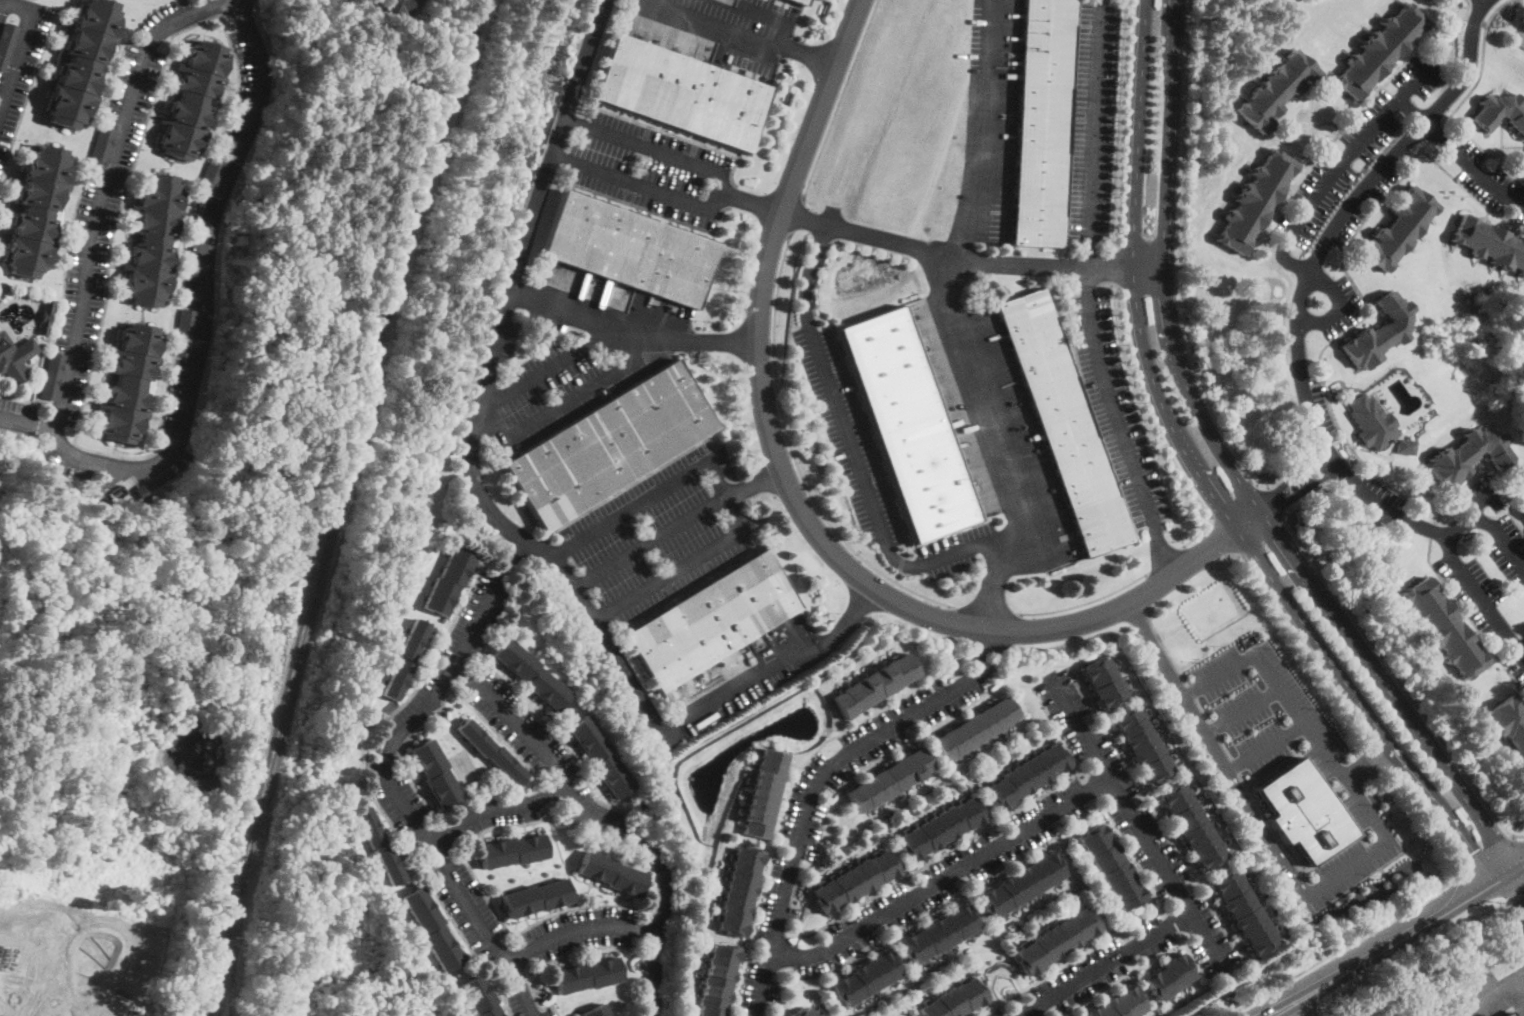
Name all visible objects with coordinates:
building: (417, 0)
building: (799, 2)
building: (393, 6)
road: (1466, 8)
parking lot: (729, 21)
road: (748, 31)
building: (6, 43)
road: (1173, 43)
road: (20, 46)
building: (1380, 51)
building: (81, 63)
building: (1276, 91)
building: (681, 94)
road: (839, 99)
building: (189, 100)
road: (1410, 108)
building: (1500, 112)
parking lot: (1092, 121)
road: (1126, 122)
building: (1042, 123)
road: (1091, 134)
building: (100, 151)
road: (1336, 163)
building: (1521, 165)
parking lot: (649, 167)
road: (1469, 167)
road: (1306, 171)
building: (212, 172)
road: (1165, 177)
road: (102, 188)
road: (718, 190)
road: (1134, 198)
road: (749, 201)
building: (1255, 201)
building: (36, 212)
road: (796, 216)
road: (974, 217)
building: (1398, 230)
building: (150, 241)
building: (1490, 244)
building: (629, 249)
road: (1176, 256)
road: (1057, 265)
road: (1119, 266)
road: (1309, 274)
road: (1340, 304)
building: (44, 317)
parking lot: (545, 319)
road: (198, 320)
road: (1169, 326)
building: (184, 333)
building: (1379, 333)
road: (685, 338)
road: (593, 339)
building: (14, 358)
road: (1313, 361)
road: (1298, 363)
building: (53, 376)
building: (127, 383)
parking lot: (539, 387)
road: (569, 396)
parking lot: (1116, 410)
building: (1371, 422)
building: (908, 423)
building: (1064, 423)
road: (1336, 423)
road: (1118, 424)
road: (1156, 428)
parking lot: (847, 435)
road: (872, 440)
building: (609, 445)
road: (992, 446)
building: (1405, 446)
road: (1219, 450)
road: (792, 454)
road: (853, 456)
building: (1468, 456)
road: (1196, 464)
road: (1292, 469)
building: (0, 473)
road: (724, 486)
road: (1294, 486)
building: (140, 492)
road: (795, 497)
road: (1276, 500)
railway: (332, 504)
road: (1235, 504)
building: (1523, 506)
building: (1522, 509)
road: (496, 516)
road: (674, 524)
road: (1249, 524)
parking lot: (651, 537)
road: (1261, 539)
road: (1221, 540)
parking lot: (954, 550)
road: (1452, 556)
road: (1165, 561)
road: (901, 563)
road: (897, 576)
building: (448, 582)
road: (1085, 603)
road: (983, 613)
building: (711, 621)
road: (1306, 627)
building: (1444, 629)
road: (1302, 644)
road: (1166, 647)
road: (1382, 658)
building: (404, 660)
building: (531, 674)
building: (1103, 681)
road: (1383, 681)
building: (875, 684)
road: (1192, 691)
road: (1203, 709)
road: (1243, 711)
parking lot: (1254, 711)
building: (1509, 724)
road: (1215, 727)
building: (975, 728)
building: (1142, 744)
road: (1264, 744)
road: (1226, 746)
road: (1325, 749)
building: (490, 751)
road: (541, 751)
road: (1214, 751)
road: (1381, 756)
building: (600, 757)
road: (1370, 764)
road: (1236, 765)
building: (435, 773)
building: (1025, 775)
road: (390, 777)
building: (889, 779)
road: (816, 782)
road: (789, 788)
road: (1380, 790)
building: (764, 792)
road: (1427, 795)
road: (1352, 798)
road: (501, 807)
building: (1303, 812)
road: (1426, 819)
road: (1269, 822)
road: (1137, 823)
road: (1071, 824)
building: (1190, 824)
building: (939, 827)
road: (1500, 843)
building: (379, 845)
parking lot: (1350, 849)
building: (512, 851)
road: (1372, 856)
road: (1469, 864)
building: (1110, 866)
road: (1497, 866)
building: (611, 874)
road: (943, 878)
building: (855, 880)
building: (1021, 884)
road: (1393, 886)
building: (739, 890)
road: (1515, 891)
building: (537, 898)
building: (1243, 911)
road: (663, 917)
road: (827, 924)
road: (581, 927)
building: (432, 929)
building: (938, 933)
road: (66, 938)
building: (1054, 939)
railway: (234, 940)
road: (1400, 941)
road: (1341, 945)
road: (756, 947)
road: (99, 956)
road: (1104, 964)
road: (1137, 967)
building: (586, 976)
building: (1168, 976)
building: (866, 977)
building: (11, 979)
building: (717, 980)
road: (1520, 982)
road: (1486, 993)
parking lot: (1482, 996)
building: (479, 997)
building: (953, 999)
building: (1118, 1004)
road: (1306, 1008)
building: (596, 1011)
building: (804, 1012)
building: (100, 1013)
building: (1508, 1014)
building: (1513, 1015)

